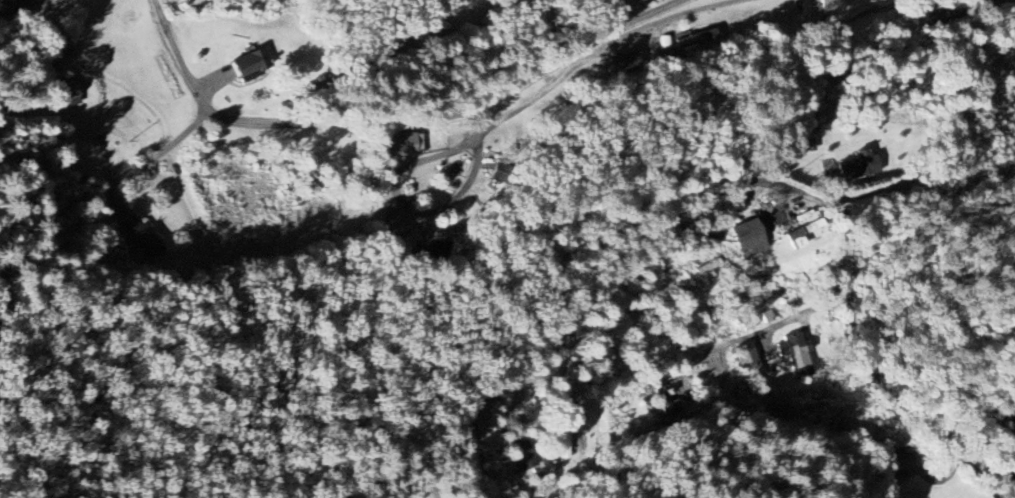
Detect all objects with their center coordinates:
building: (869, 0)
building: (7, 2)
building: (835, 4)
road: (17, 6)
building: (691, 40)
building: (665, 43)
road: (598, 50)
building: (624, 63)
building: (253, 64)
road: (184, 66)
road: (383, 121)
building: (403, 145)
building: (860, 166)
road: (407, 206)
road: (704, 207)
building: (391, 216)
building: (138, 232)
building: (802, 234)
building: (749, 239)
road: (859, 277)
building: (796, 353)
building: (751, 368)
road: (567, 413)
road: (483, 455)

